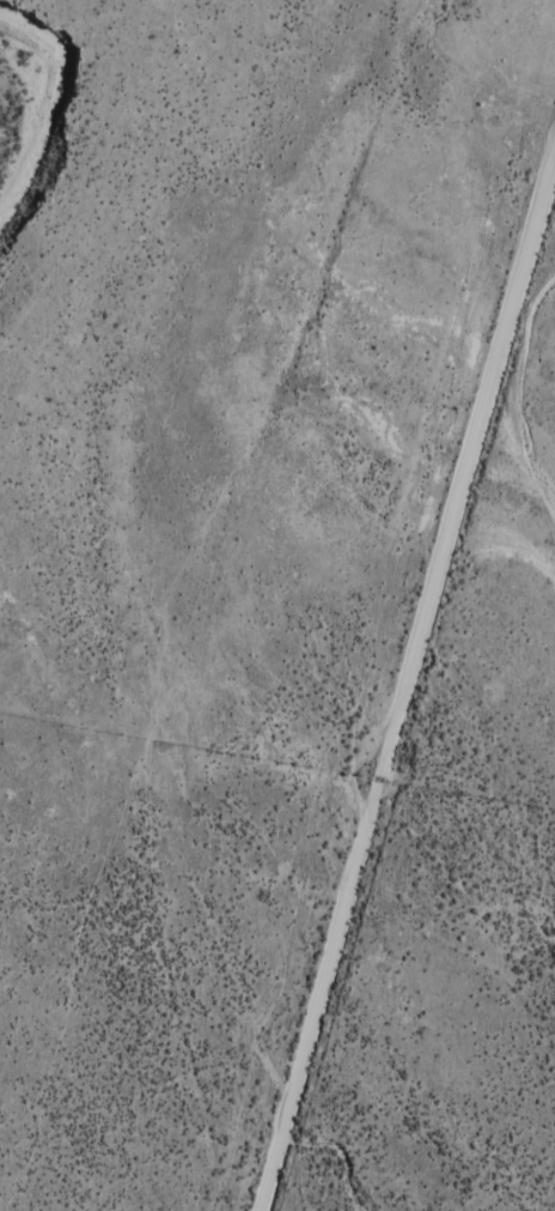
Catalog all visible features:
road: (403, 690)

